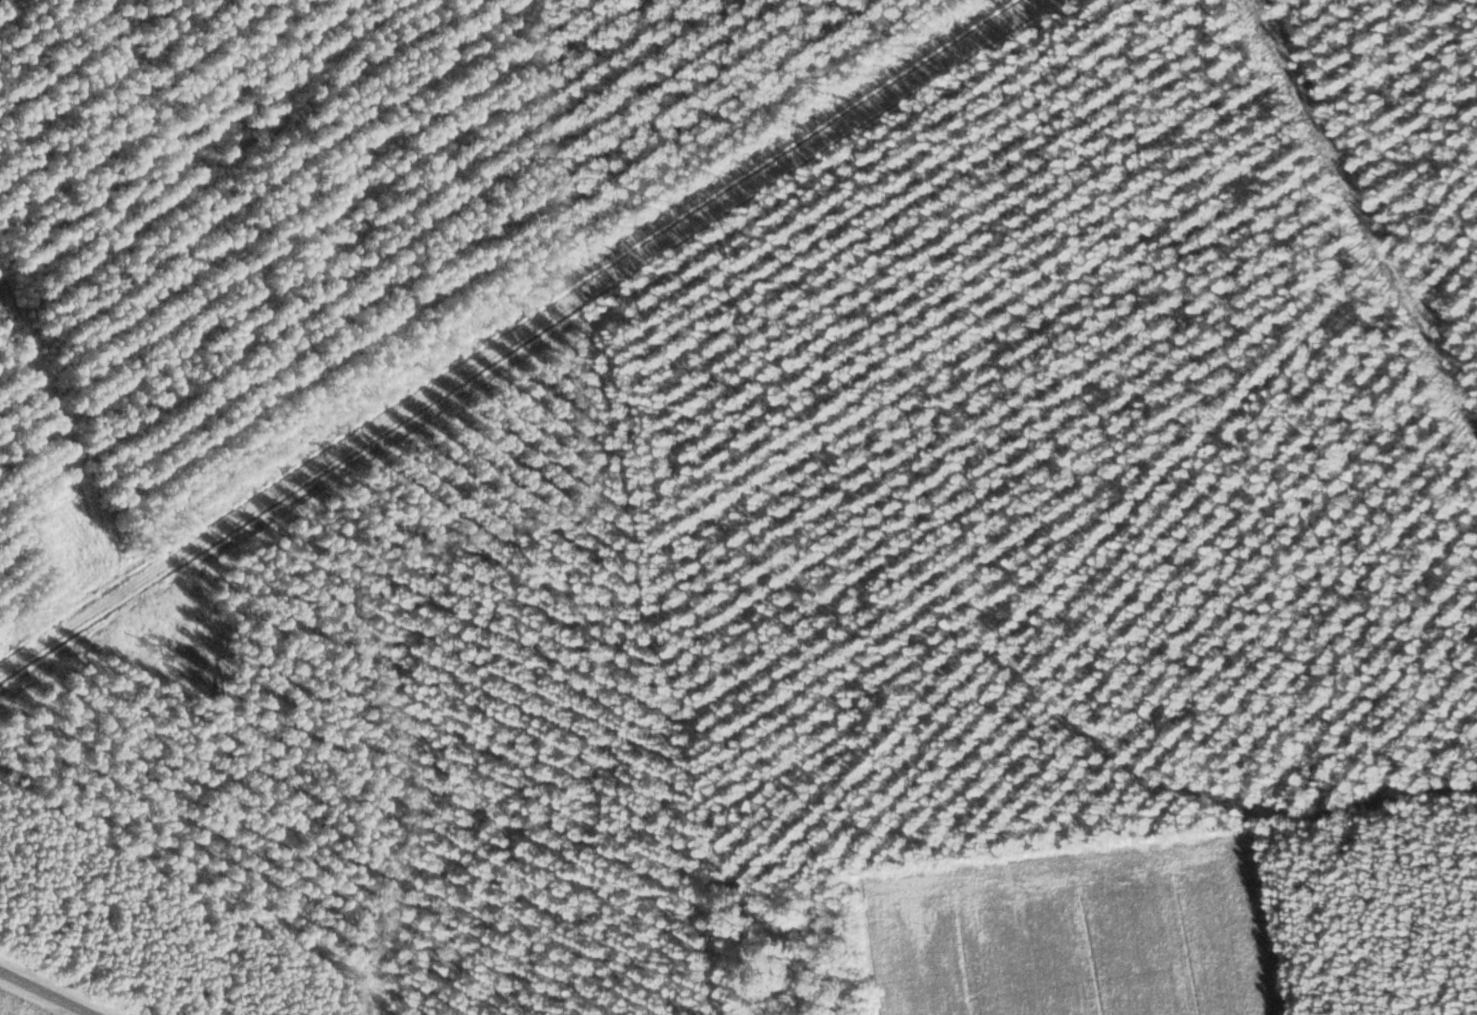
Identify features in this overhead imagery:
road: (43, 994)

